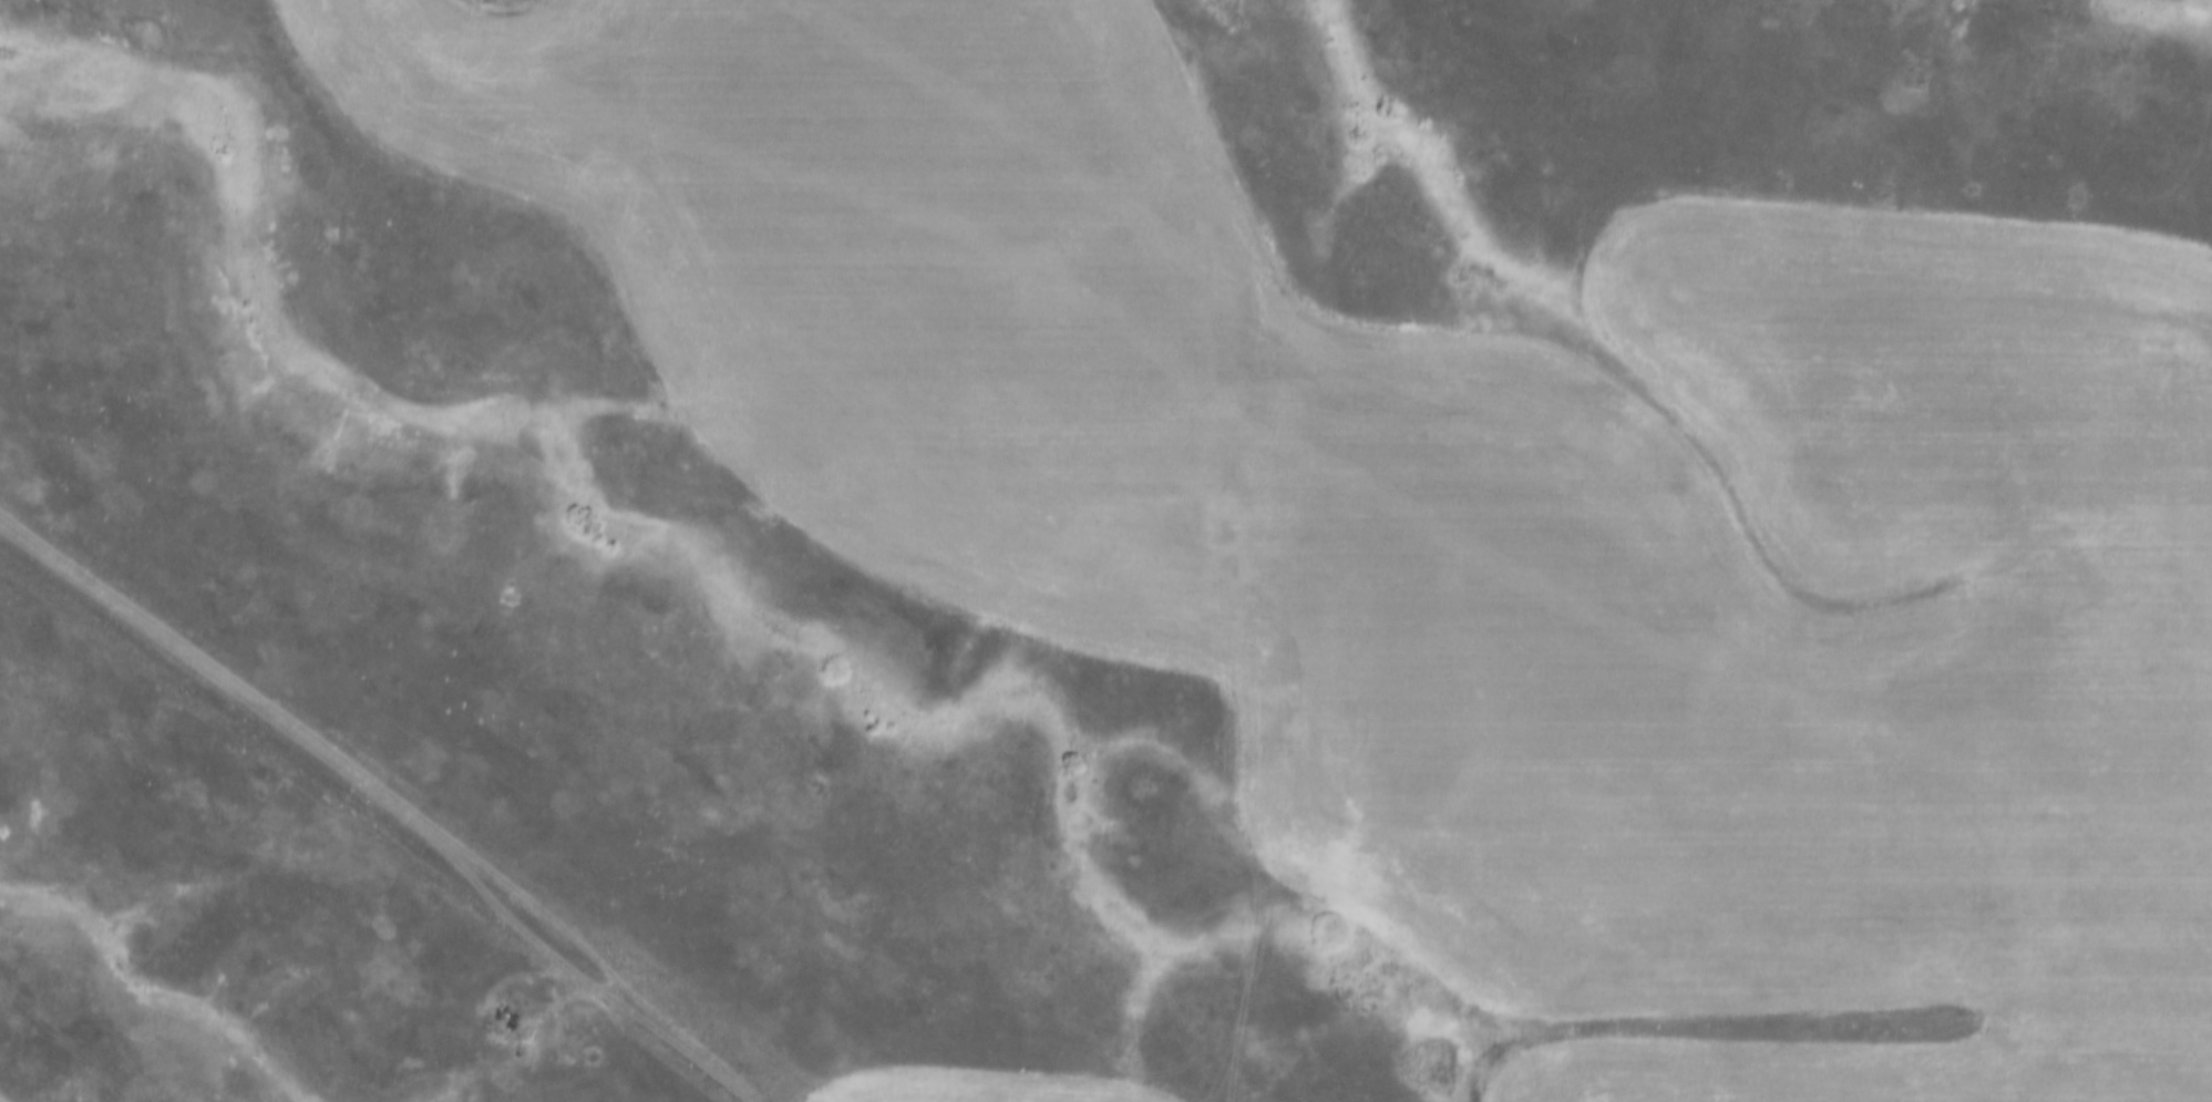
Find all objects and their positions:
road: (395, 804)

